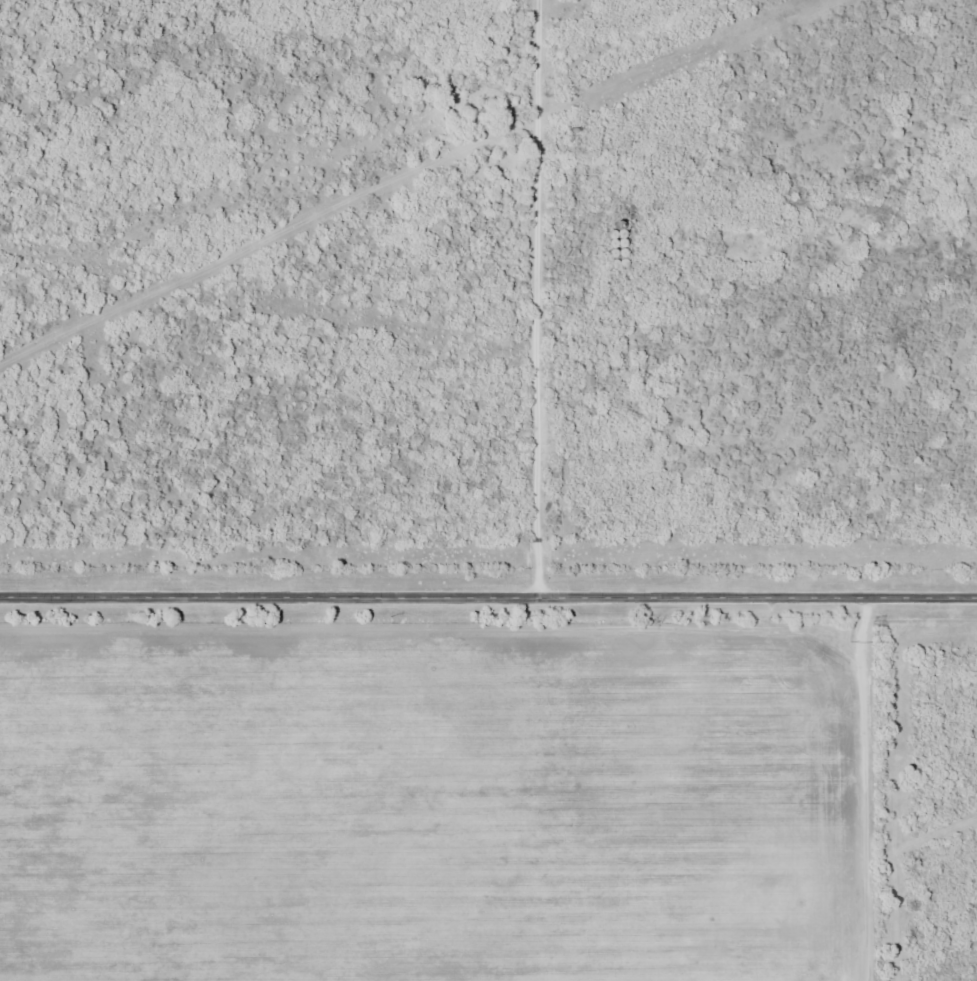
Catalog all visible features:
road: (535, 298)
road: (488, 595)

